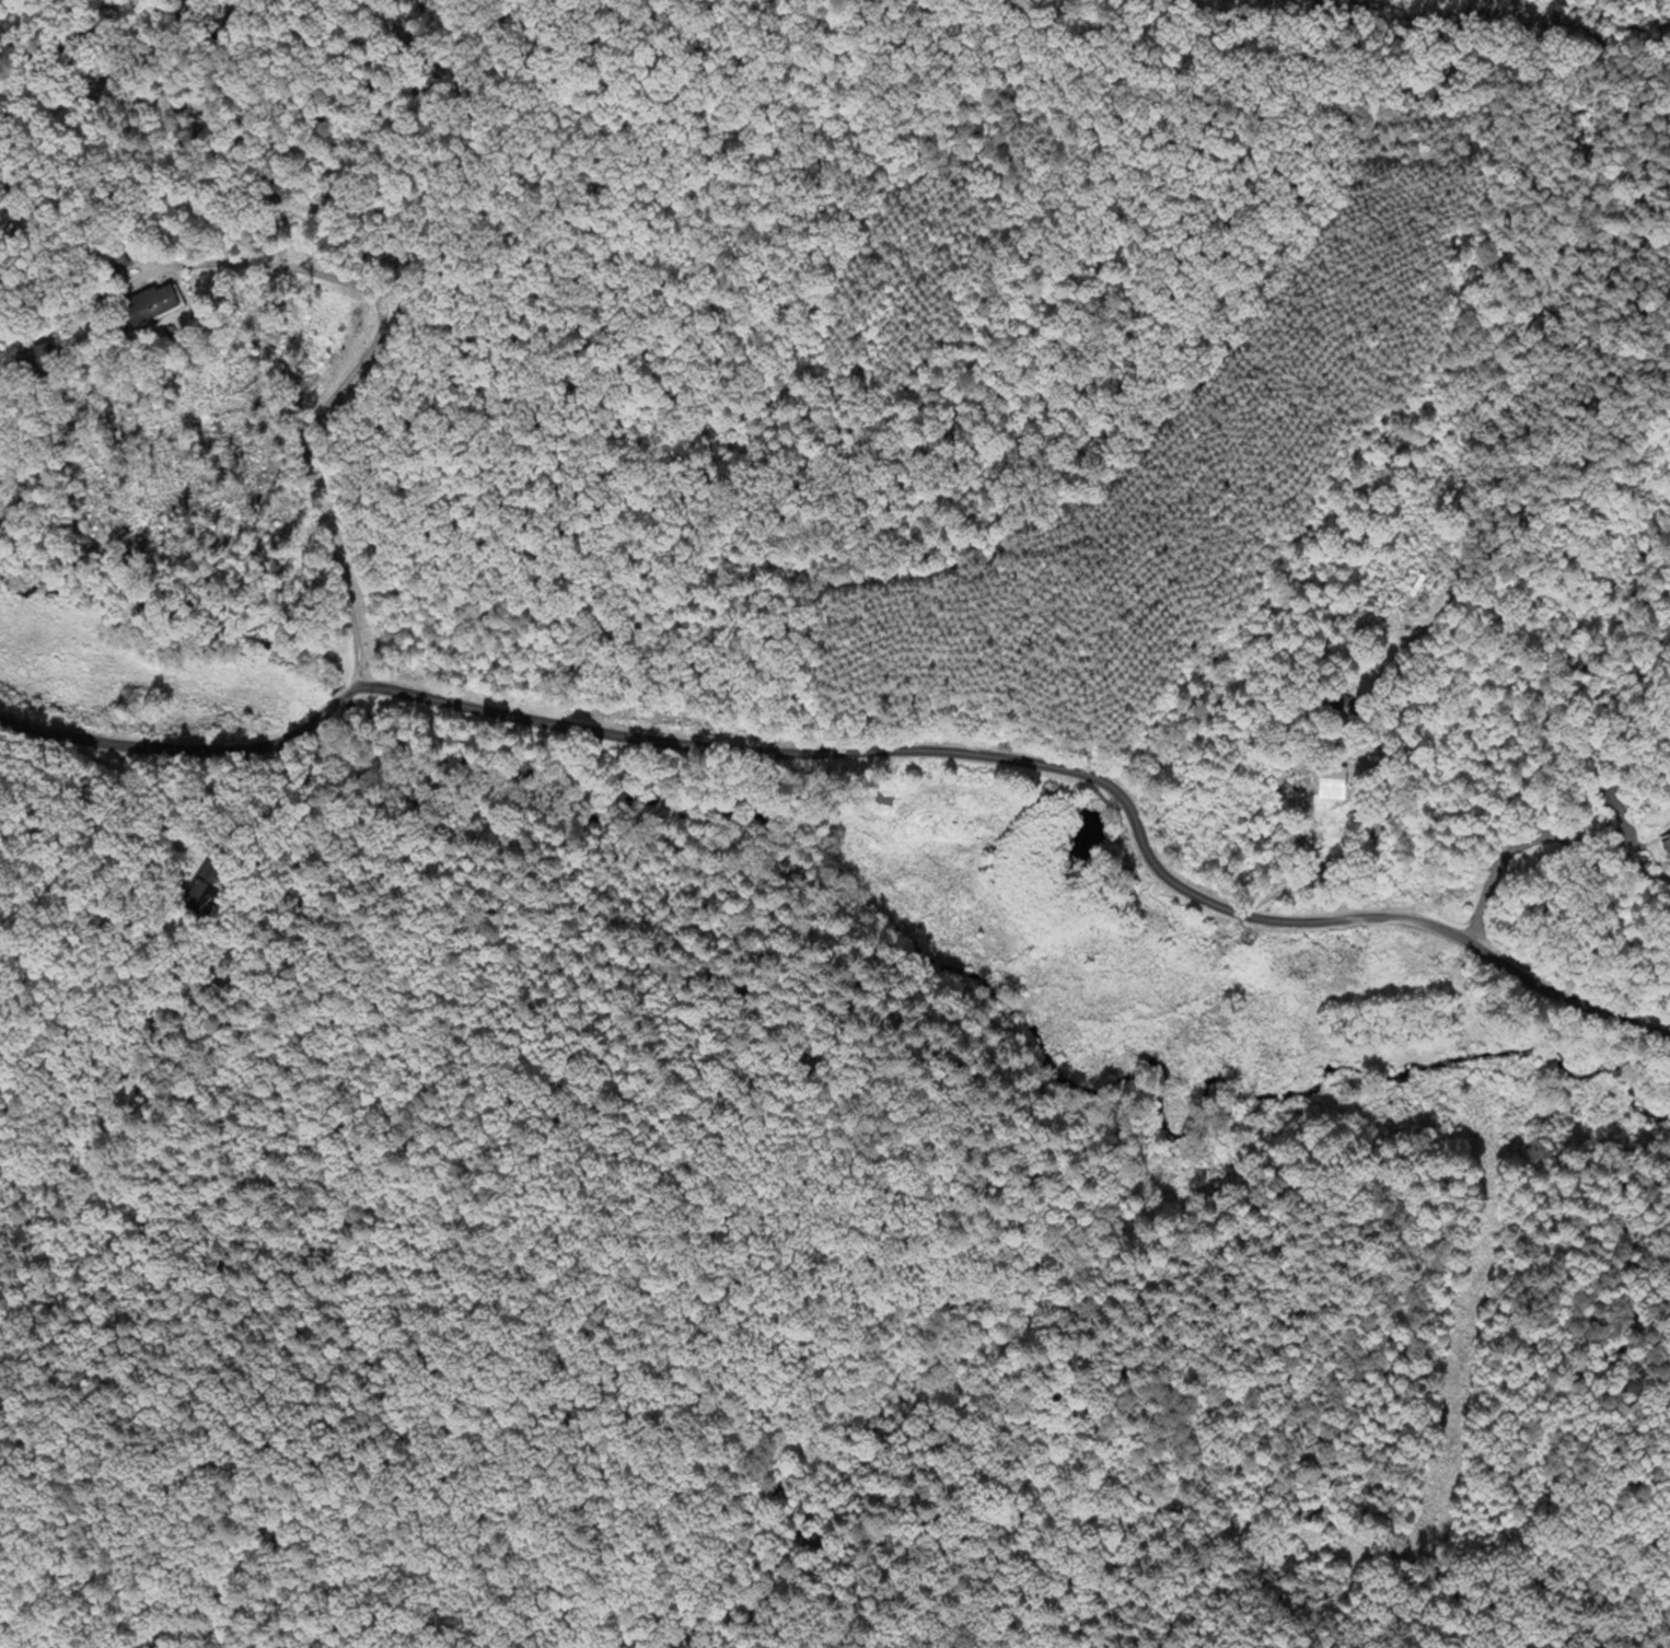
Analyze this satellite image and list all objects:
building: (152, 306)
road: (352, 370)
road: (868, 746)
building: (1666, 846)
road: (1324, 1572)

